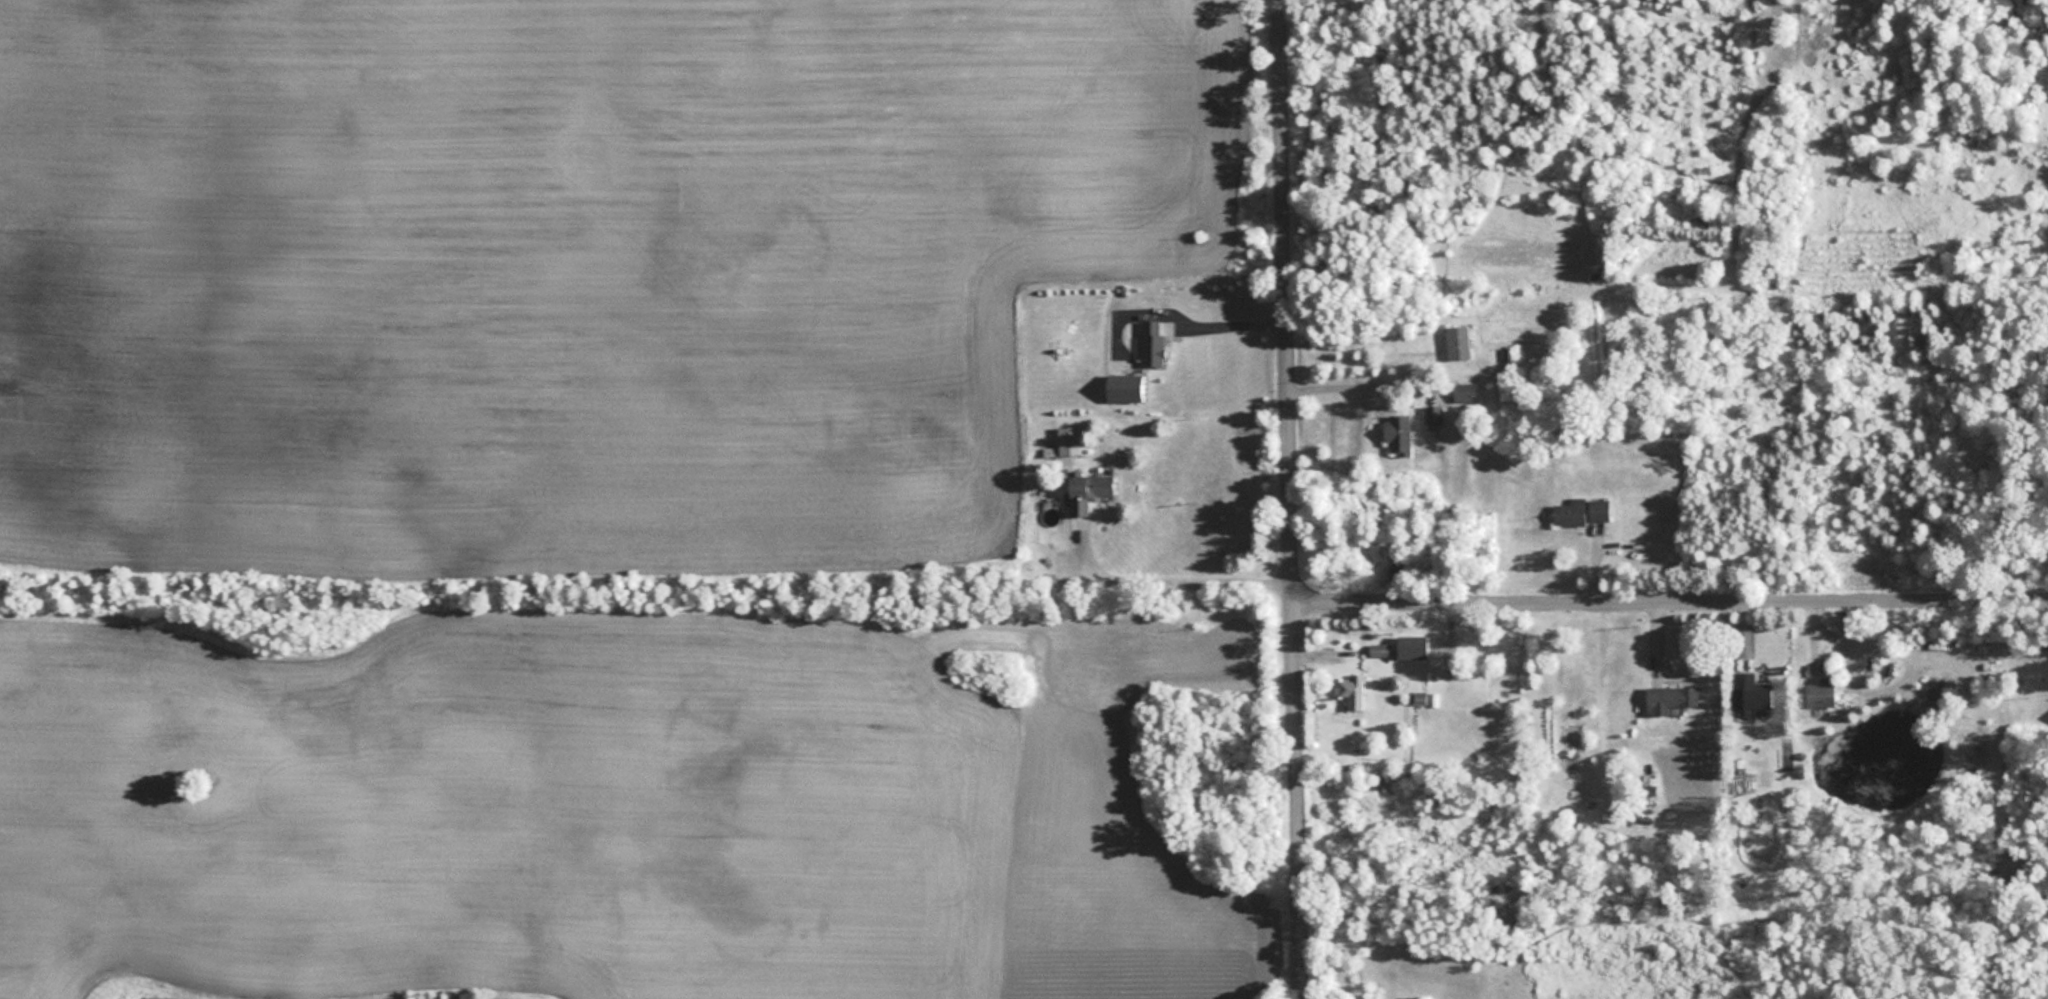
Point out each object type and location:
building: (1152, 342)
building: (1458, 342)
building: (1464, 391)
building: (1434, 413)
building: (1399, 432)
building: (1088, 489)
road: (1292, 499)
building: (1598, 509)
building: (1569, 512)
road: (1563, 589)
building: (1412, 646)
building: (1352, 691)
building: (1820, 694)
building: (1670, 698)
building: (1757, 698)

